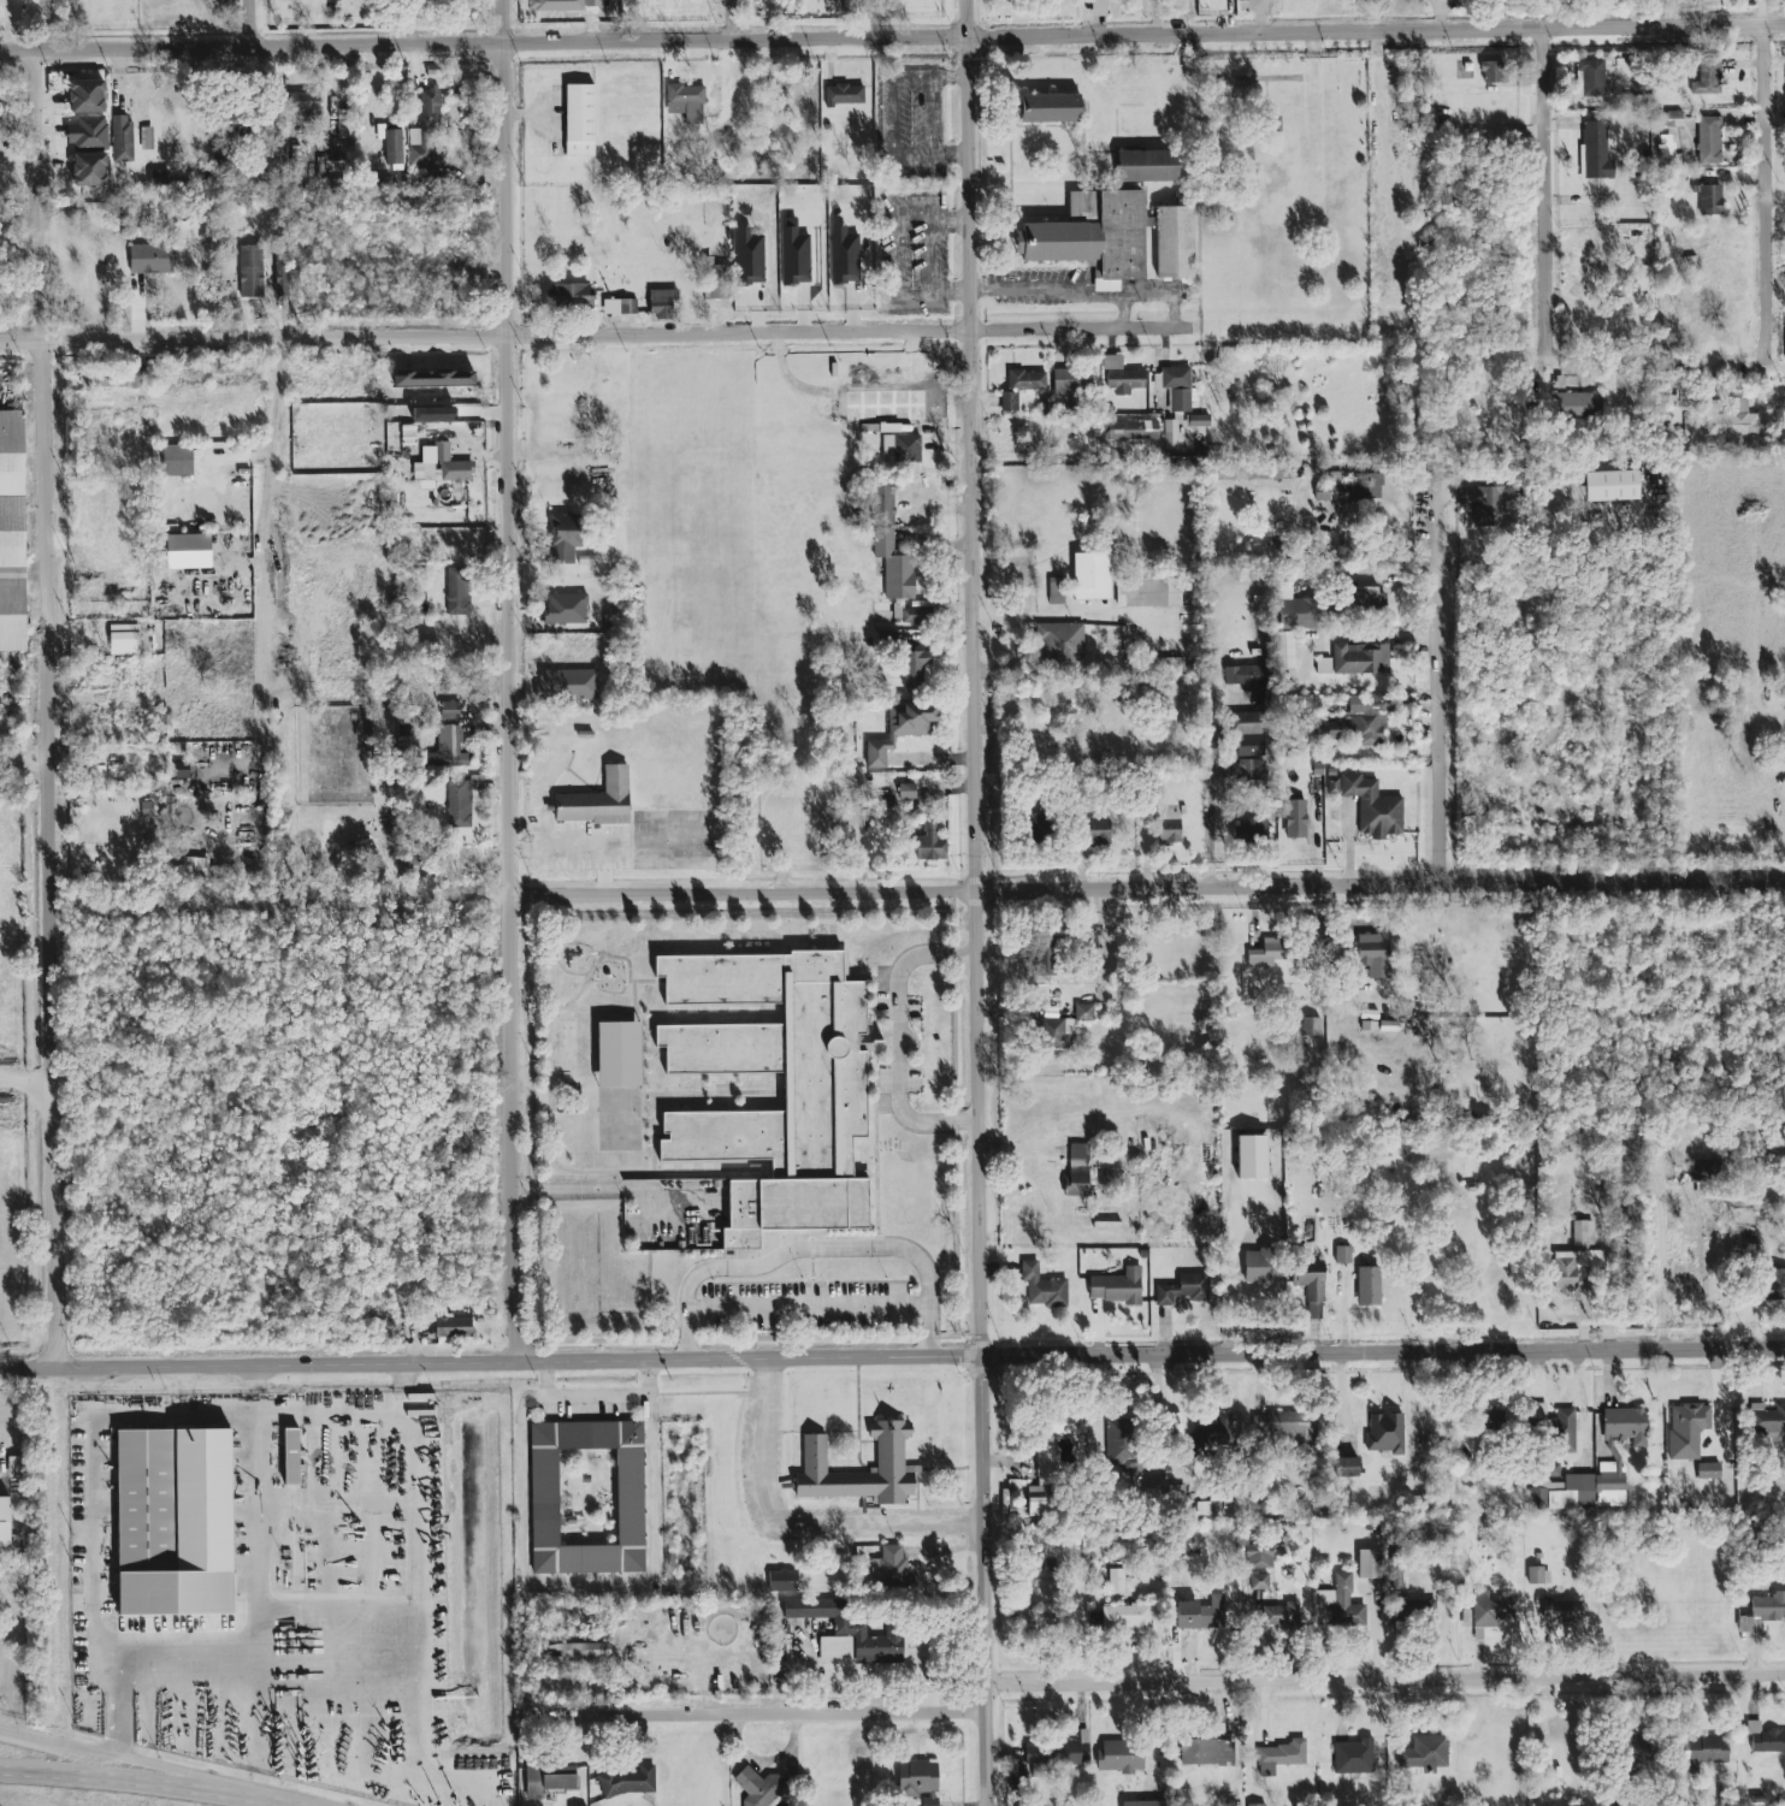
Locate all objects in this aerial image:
building: (593, 2)
building: (555, 5)
building: (1098, 7)
road: (735, 22)
road: (250, 26)
road: (892, 40)
building: (1490, 71)
building: (1706, 77)
building: (1590, 79)
building: (844, 94)
building: (738, 95)
building: (64, 96)
building: (85, 96)
building: (788, 97)
building: (685, 99)
building: (302, 102)
building: (1047, 108)
building: (428, 109)
building: (579, 122)
building: (343, 125)
building: (160, 137)
building: (120, 140)
building: (1708, 141)
building: (392, 147)
building: (1595, 150)
building: (330, 162)
building: (295, 166)
building: (1145, 166)
building: (89, 170)
building: (229, 170)
building: (158, 178)
building: (226, 190)
building: (1709, 200)
road: (42, 202)
road: (1766, 211)
road: (1547, 225)
building: (1090, 236)
building: (1172, 243)
building: (153, 255)
building: (280, 268)
building: (249, 272)
building: (715, 283)
road: (1089, 289)
building: (571, 297)
building: (660, 303)
building: (619, 308)
road: (1122, 309)
road: (599, 338)
road: (1666, 368)
building: (556, 374)
building: (433, 378)
building: (1124, 379)
building: (113, 380)
building: (1075, 381)
building: (1019, 386)
building: (1176, 387)
building: (424, 390)
building: (1579, 405)
building: (1731, 419)
building: (1199, 421)
building: (401, 430)
building: (1133, 430)
building: (1169, 433)
building: (900, 450)
road: (1023, 455)
building: (177, 461)
building: (449, 466)
building: (1610, 486)
building: (1350, 487)
building: (1484, 504)
building: (1334, 508)
road: (1438, 525)
building: (565, 531)
building: (12, 532)
road: (267, 534)
building: (187, 551)
building: (1323, 556)
building: (893, 559)
building: (1090, 581)
building: (457, 588)
building: (1141, 591)
building: (1057, 598)
building: (1360, 599)
building: (566, 609)
road: (999, 614)
road: (1107, 615)
building: (1313, 618)
building: (124, 640)
building: (1058, 643)
building: (1284, 651)
building: (1363, 659)
building: (1318, 667)
building: (914, 669)
building: (1243, 675)
road: (513, 679)
building: (1734, 697)
building: (449, 710)
building: (1370, 721)
building: (1246, 724)
building: (902, 729)
building: (1326, 730)
road: (1441, 738)
building: (1249, 746)
building: (447, 747)
building: (572, 747)
building: (1252, 770)
building: (905, 792)
road: (1211, 793)
building: (1023, 794)
building: (457, 804)
building: (1370, 805)
building: (591, 809)
building: (1295, 819)
building: (1021, 821)
building: (1169, 829)
building: (1252, 830)
building: (1093, 831)
building: (930, 842)
road: (48, 855)
road: (917, 893)
road: (974, 902)
building: (592, 937)
building: (1373, 952)
building: (1271, 953)
building: (1046, 957)
building: (1083, 1013)
building: (1311, 1028)
building: (1053, 1034)
road: (898, 1037)
building: (619, 1055)
road: (25, 1085)
building: (824, 1095)
building: (1251, 1159)
building: (1078, 1171)
building: (1707, 1171)
road: (610, 1191)
building: (1751, 1233)
road: (811, 1248)
building: (1342, 1255)
building: (1574, 1259)
road: (1660, 1263)
building: (1261, 1267)
building: (942, 1283)
building: (1310, 1285)
building: (1777, 1285)
building: (1041, 1286)
building: (1369, 1286)
building: (1116, 1287)
building: (1182, 1290)
road: (806, 1304)
building: (453, 1327)
road: (892, 1356)
road: (596, 1397)
building: (1537, 1411)
building: (1624, 1423)
building: (1486, 1427)
building: (1686, 1429)
building: (1214, 1431)
building: (1287, 1431)
building: (1560, 1432)
building: (1384, 1434)
building: (1125, 1445)
building: (888, 1455)
building: (1047, 1455)
building: (291, 1457)
building: (13, 1467)
building: (1344, 1468)
building: (1551, 1470)
building: (1708, 1472)
building: (1612, 1488)
building: (1177, 1491)
building: (586, 1497)
building: (146, 1502)
building: (1201, 1509)
road: (794, 1522)
building: (5, 1523)
building: (1258, 1557)
building: (891, 1561)
building: (1369, 1565)
road: (416, 1568)
building: (1537, 1576)
building: (781, 1581)
building: (1116, 1581)
building: (1258, 1582)
building: (1342, 1603)
building: (1413, 1611)
building: (1490, 1611)
building: (1762, 1611)
building: (1562, 1612)
building: (1196, 1613)
building: (1283, 1616)
building: (1127, 1617)
building: (1029, 1618)
building: (847, 1627)
building: (577, 1657)
road: (178, 1658)
road: (1385, 1680)
road: (114, 1711)
road: (761, 1715)
building: (1765, 1740)
building: (1698, 1752)
building: (1207, 1753)
building: (1424, 1753)
building: (1633, 1755)
building: (1056, 1757)
building: (1121, 1757)
building: (1278, 1757)
building: (1353, 1757)
road: (125, 1766)
building: (548, 1780)
building: (1017, 1780)
building: (625, 1781)
building: (917, 1781)
road: (146, 1784)
building: (761, 1788)
building: (1142, 1804)
building: (1253, 1805)

